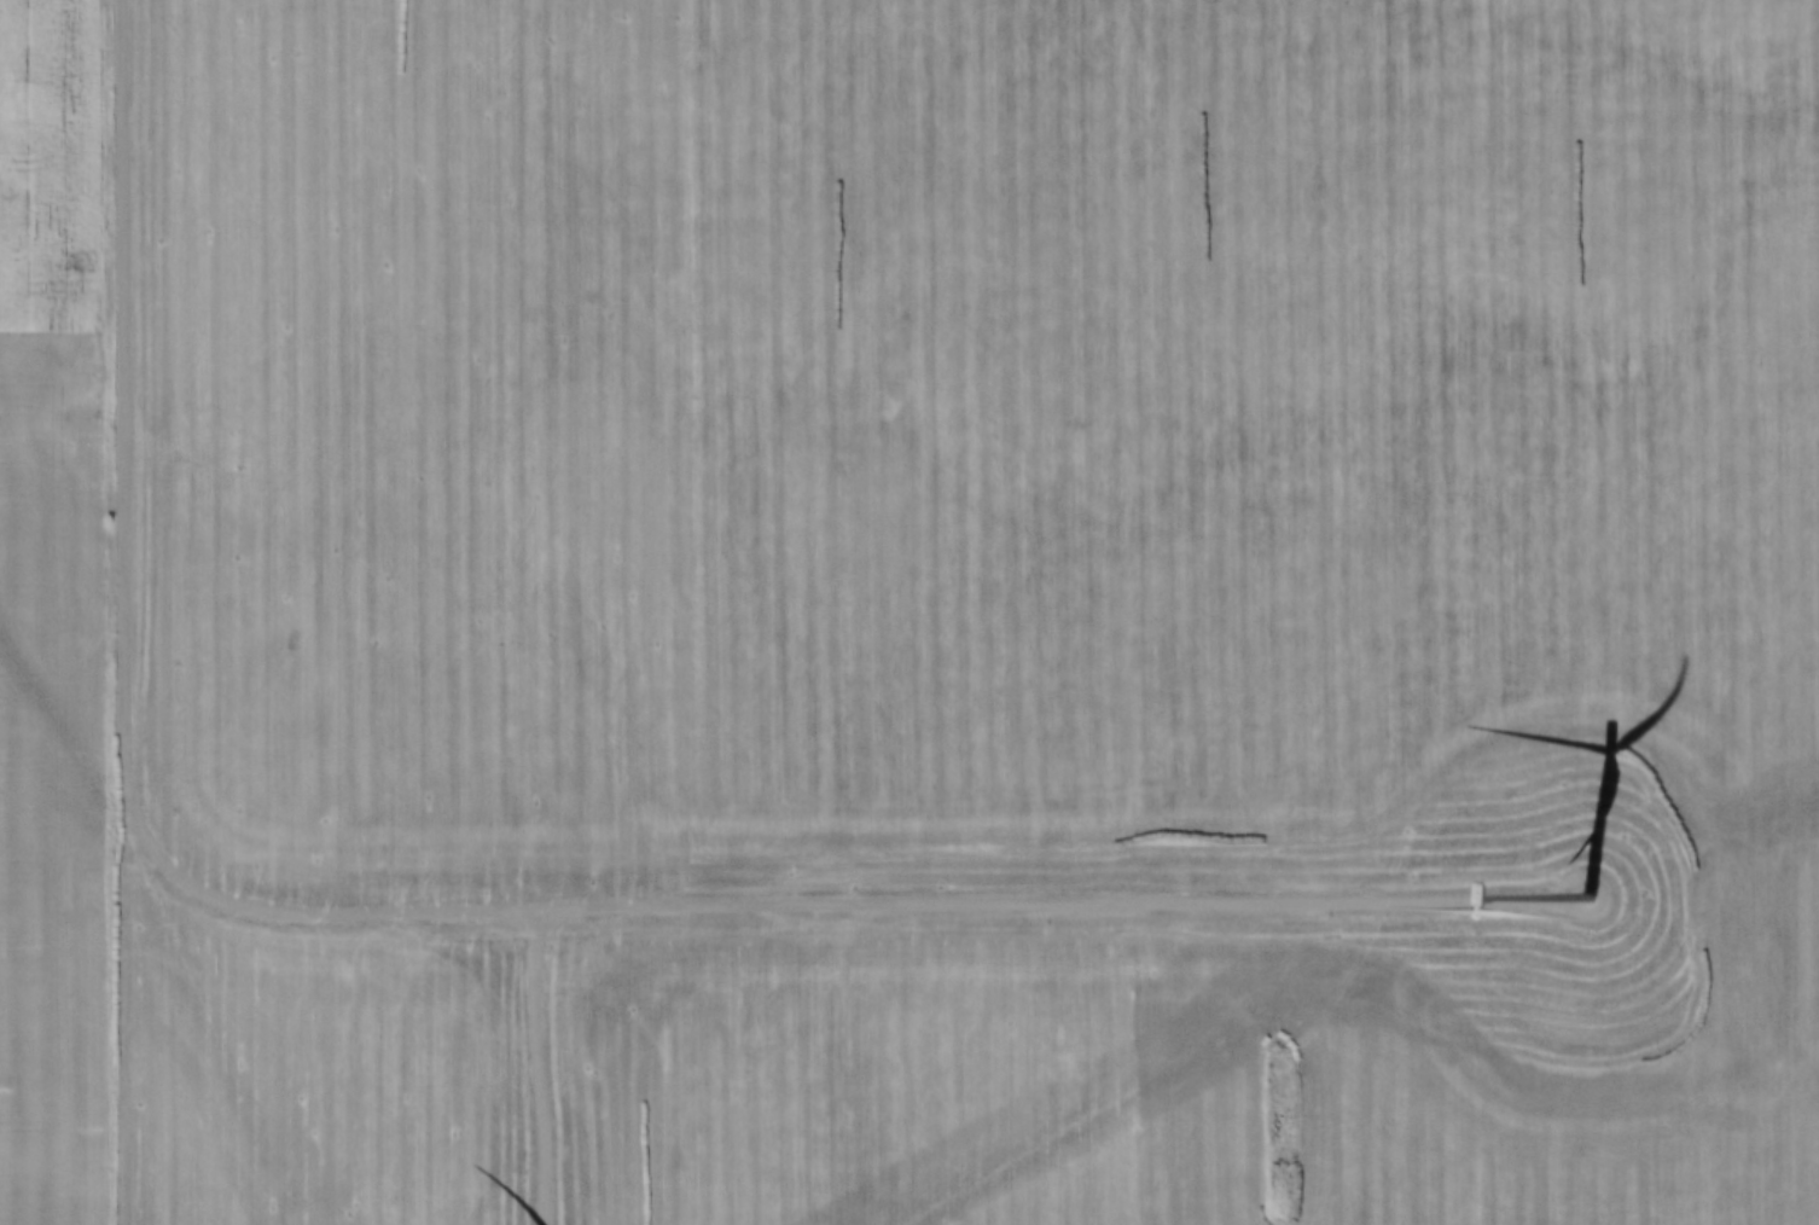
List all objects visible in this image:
wind turbine: (1582, 883)

